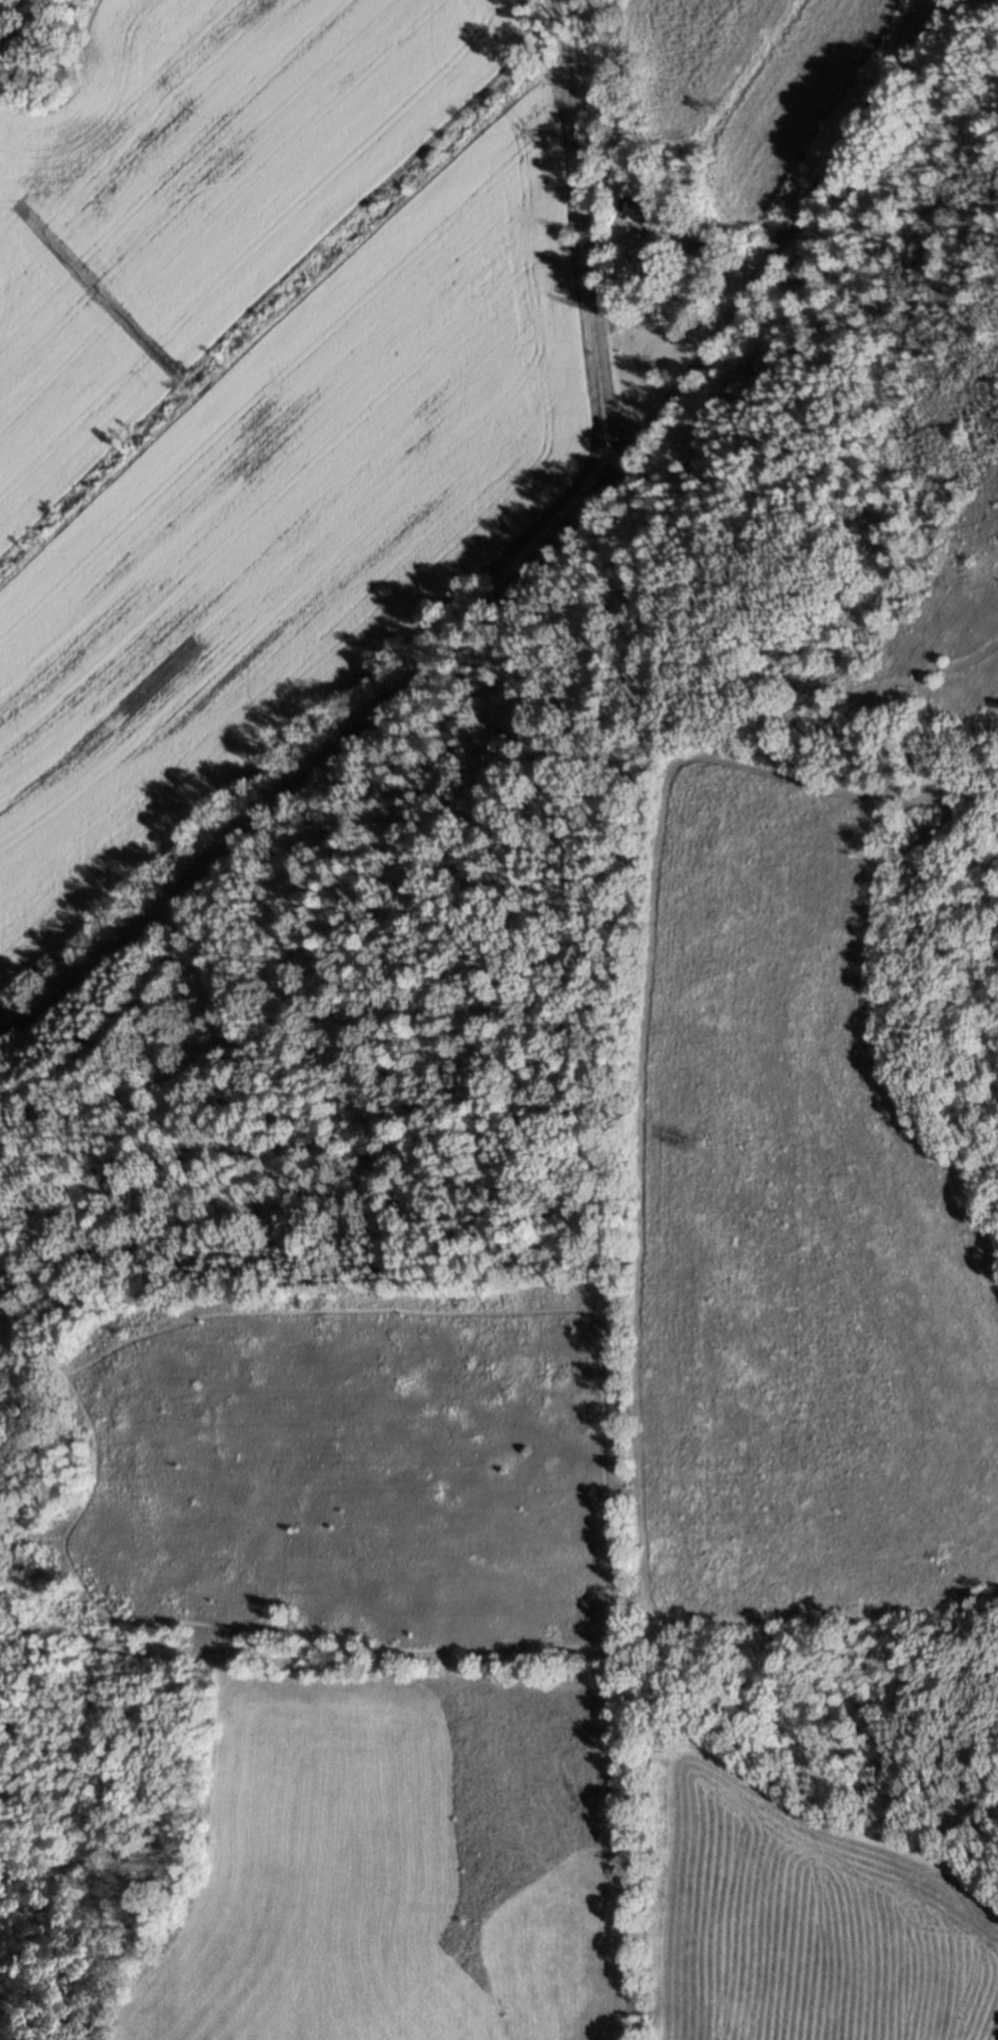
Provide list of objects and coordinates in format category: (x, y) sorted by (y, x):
building: (642, 209)
road: (585, 228)
building: (705, 248)
road: (526, 568)

